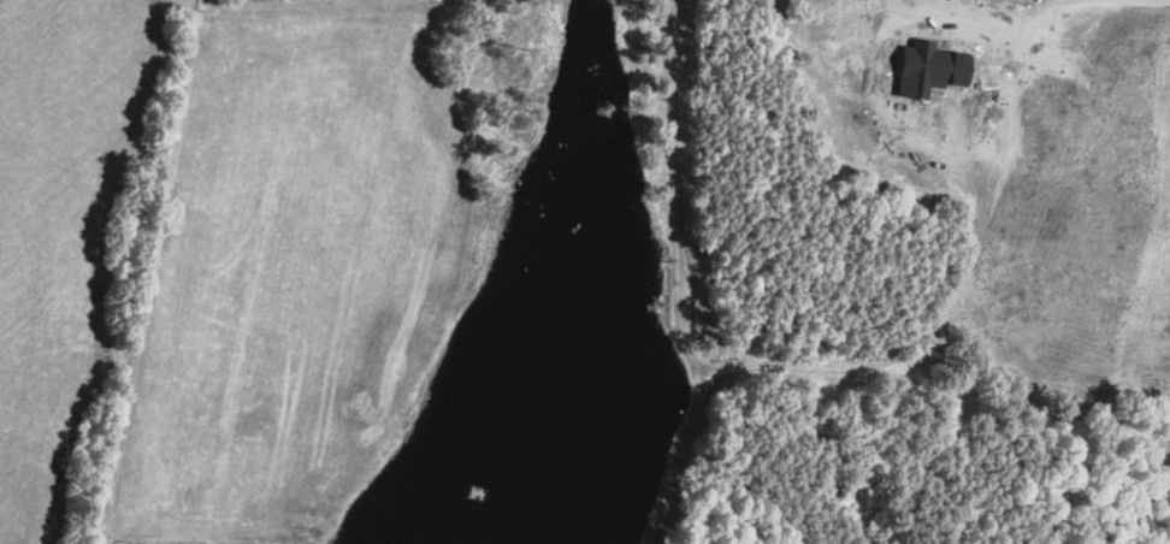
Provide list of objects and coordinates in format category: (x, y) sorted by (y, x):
road: (207, 2)
crop: (1017, 166)
crop: (54, 224)
road: (101, 270)
road: (146, 273)
road: (678, 276)
road: (959, 286)

